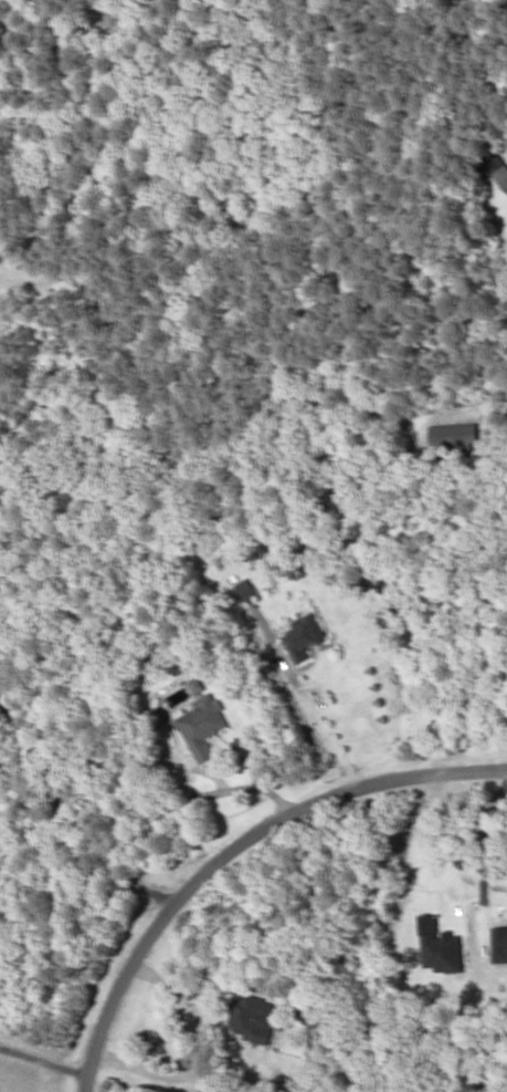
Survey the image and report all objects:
building: (453, 434)
building: (244, 589)
building: (304, 636)
building: (152, 717)
building: (202, 725)
road: (230, 846)
building: (252, 1017)

